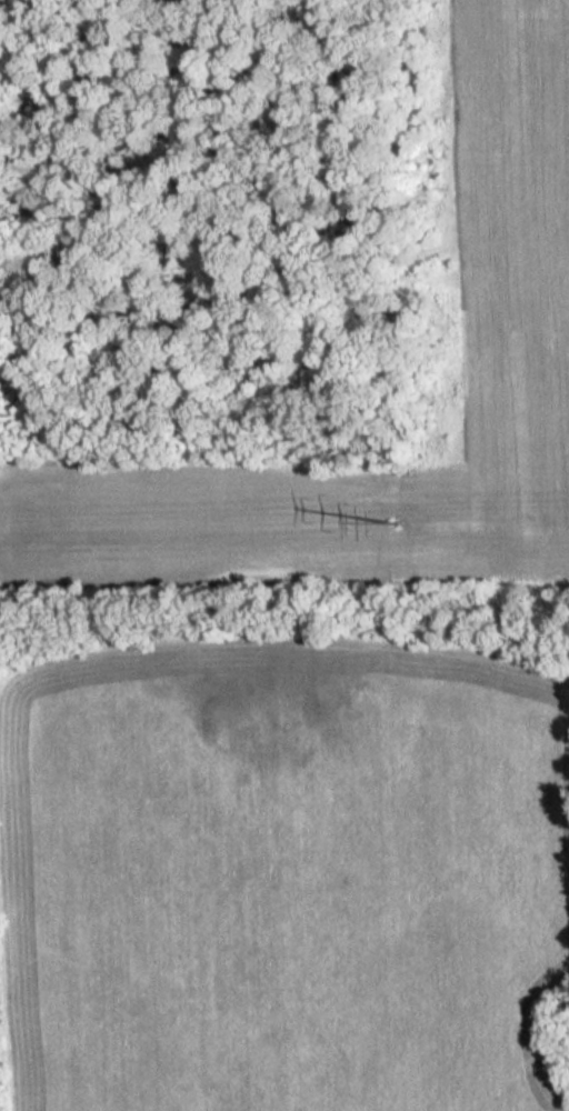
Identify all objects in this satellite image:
power tower: (399, 527)

